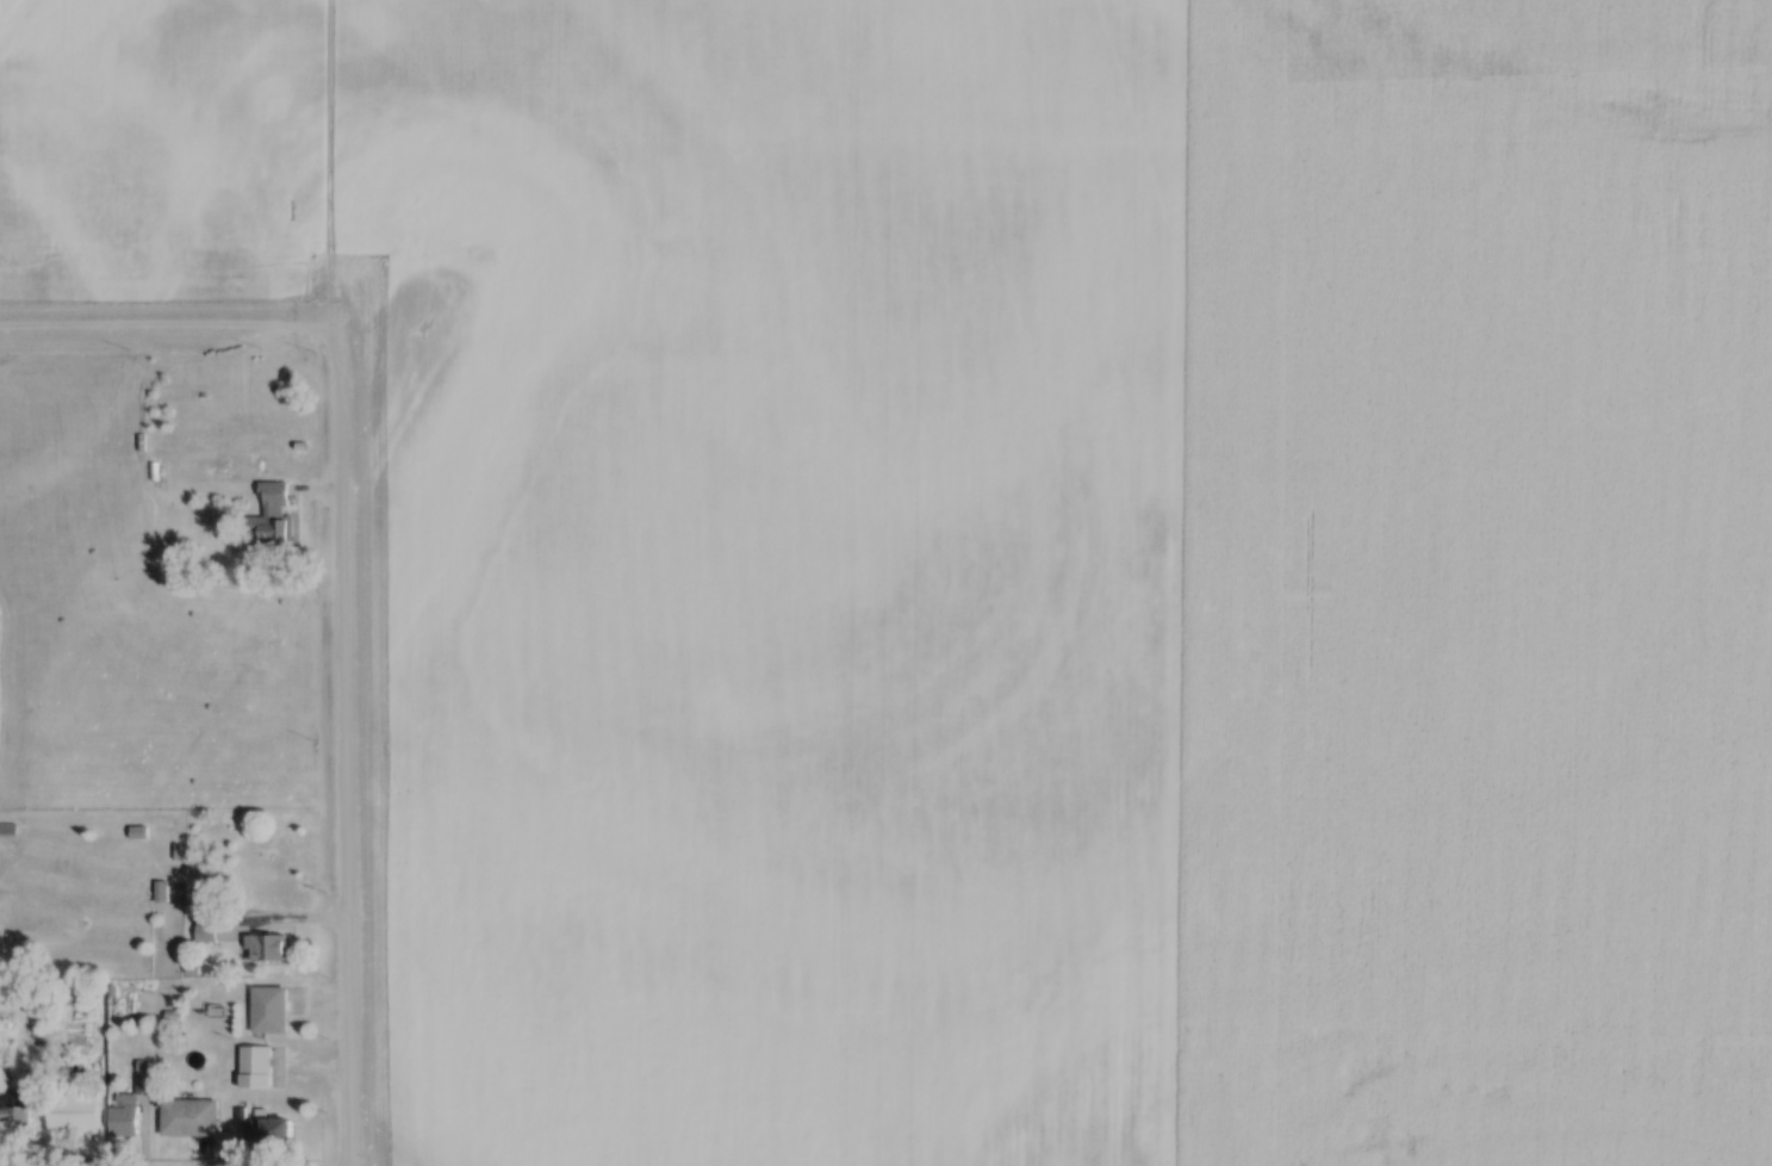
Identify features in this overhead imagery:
road: (325, 168)
road: (166, 325)
building: (220, 463)
building: (274, 516)
road: (343, 750)
building: (10, 827)
building: (209, 930)
building: (268, 948)
building: (271, 1010)
building: (257, 1068)
building: (18, 1112)
building: (76, 1112)
building: (126, 1115)
building: (192, 1118)
building: (272, 1133)

